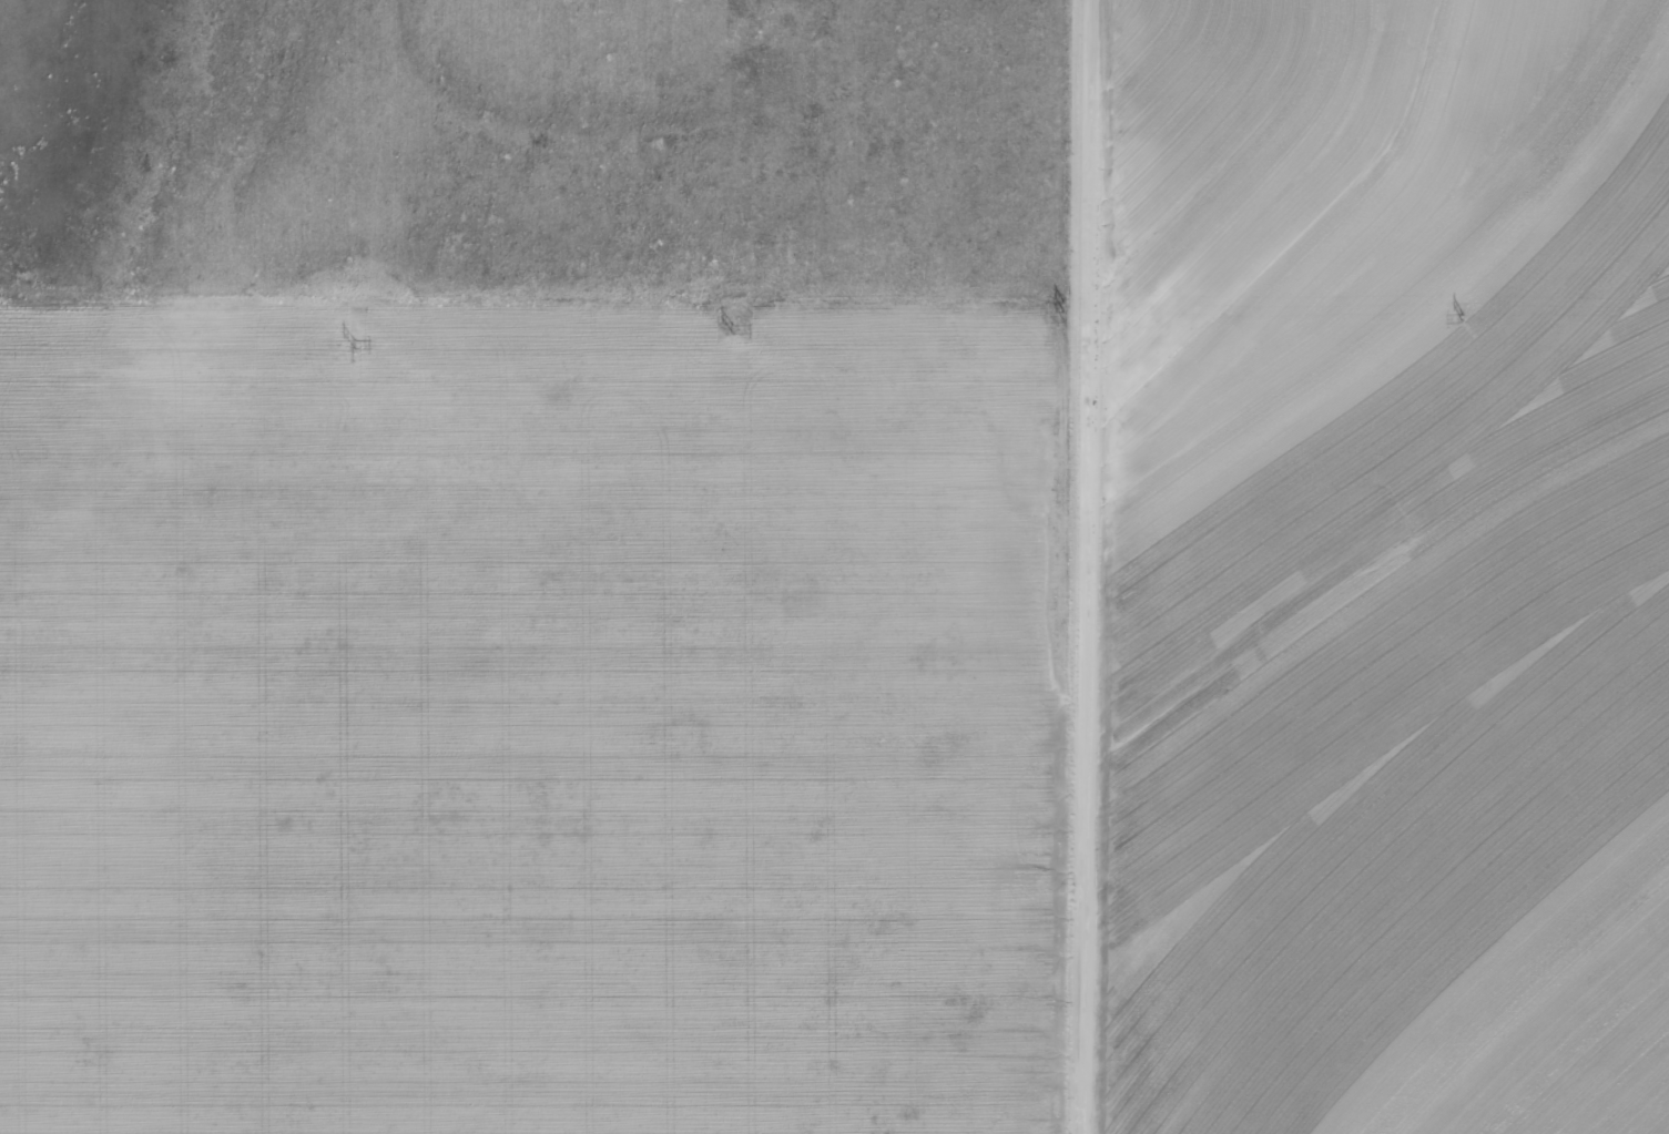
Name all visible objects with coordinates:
power tower: (1060, 304)
power tower: (1457, 308)
power tower: (730, 318)
power tower: (350, 339)
road: (1080, 566)

